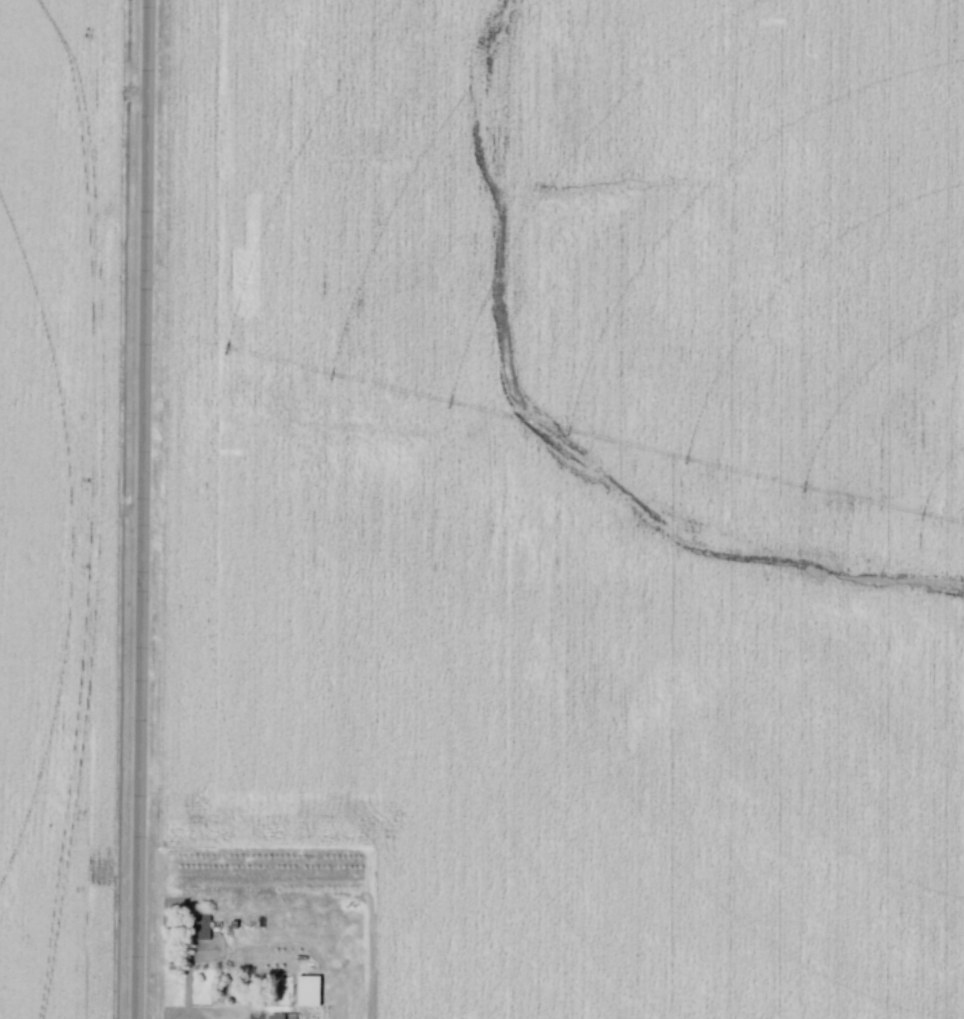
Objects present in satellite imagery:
road: (140, 509)
building: (206, 924)
building: (314, 992)
building: (287, 1017)

